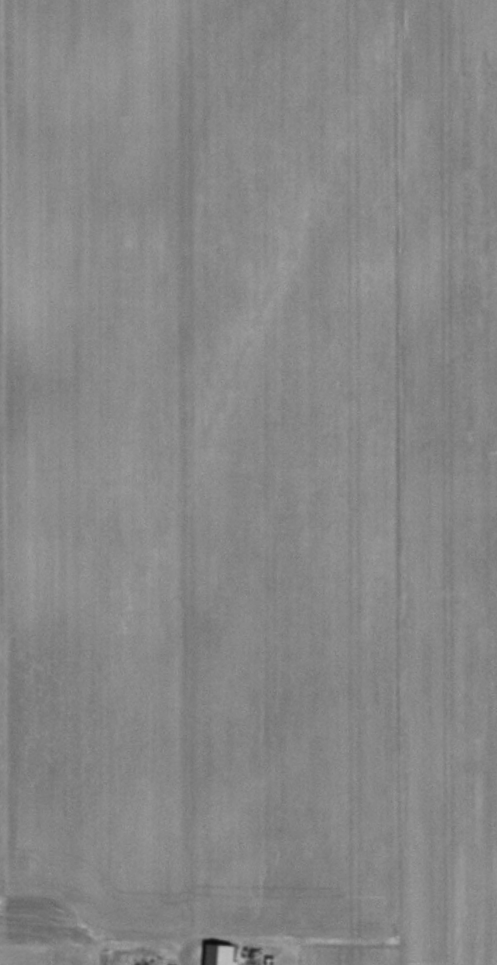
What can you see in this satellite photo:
building: (226, 954)

